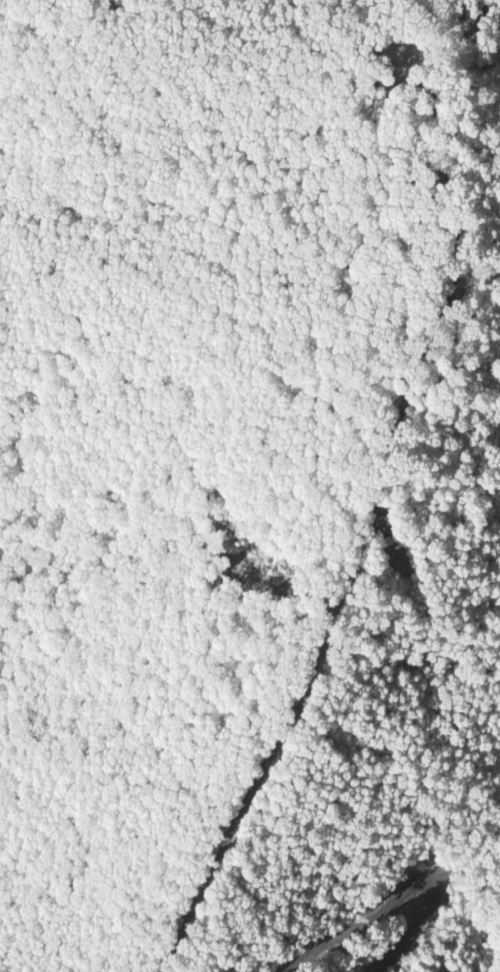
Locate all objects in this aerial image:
road: (275, 745)
road: (407, 890)

